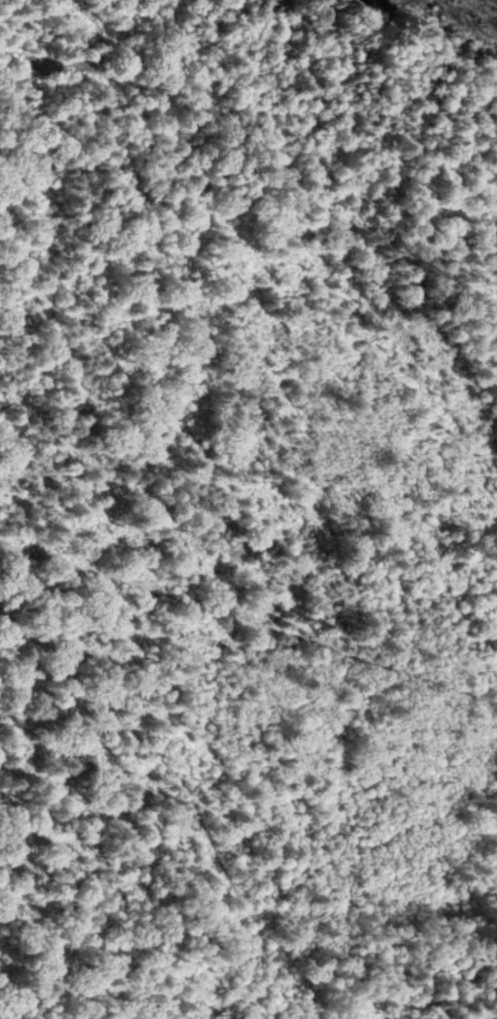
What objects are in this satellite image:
road: (249, 621)

